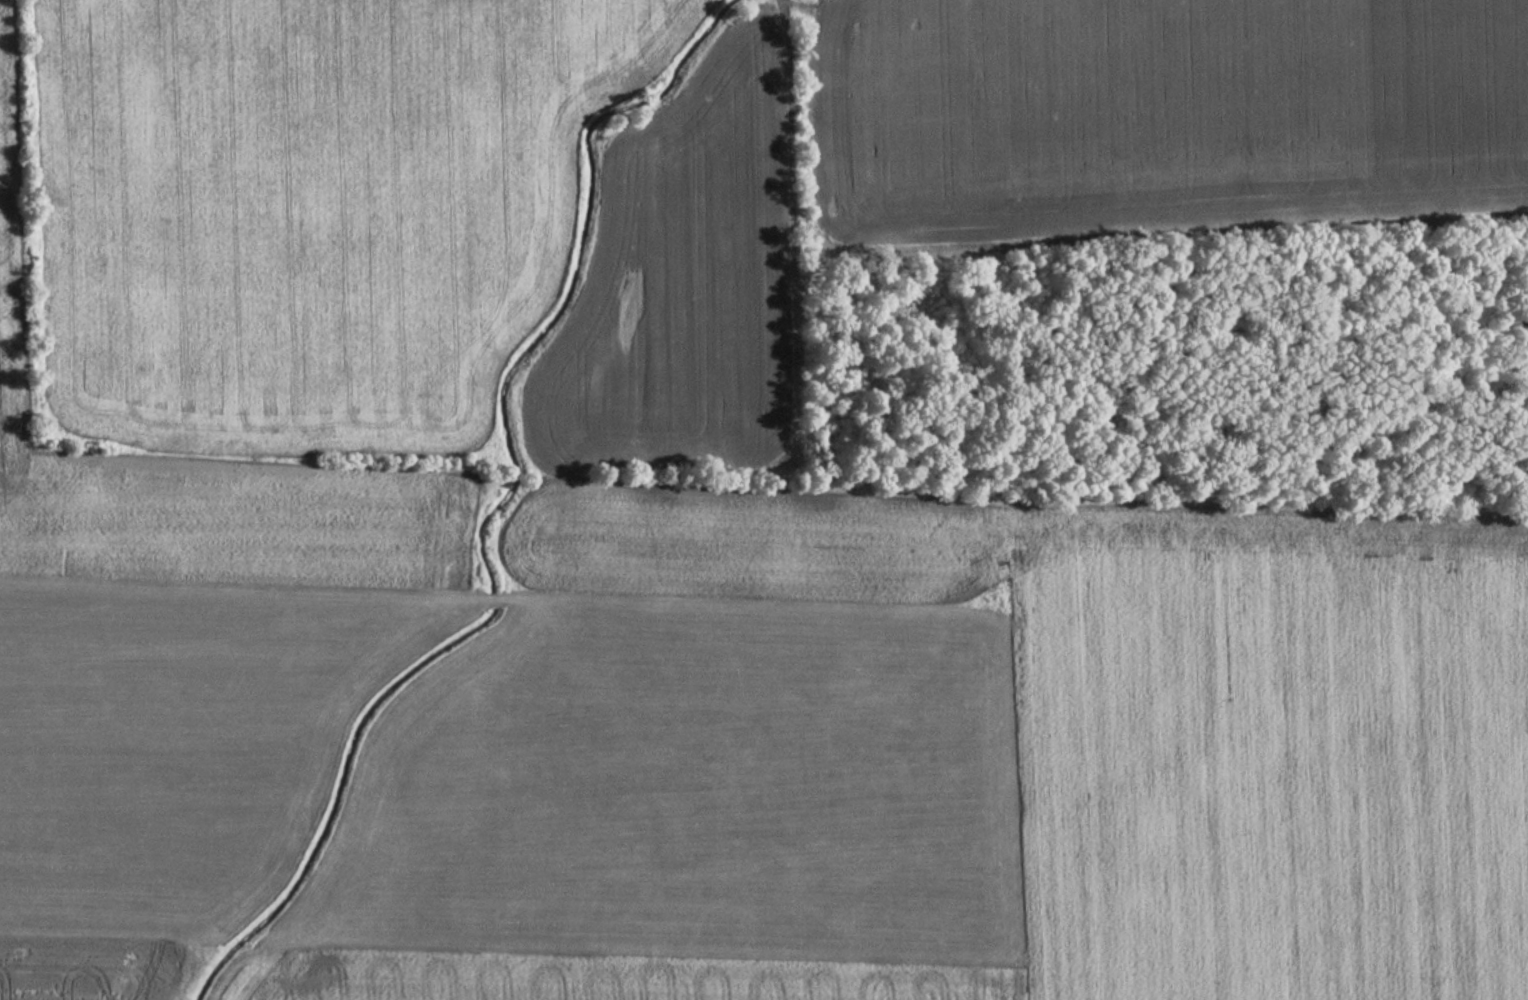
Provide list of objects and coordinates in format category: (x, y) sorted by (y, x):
crop: (1157, 107)
crop: (312, 200)
crop: (685, 289)
crop: (172, 667)
crop: (959, 762)

